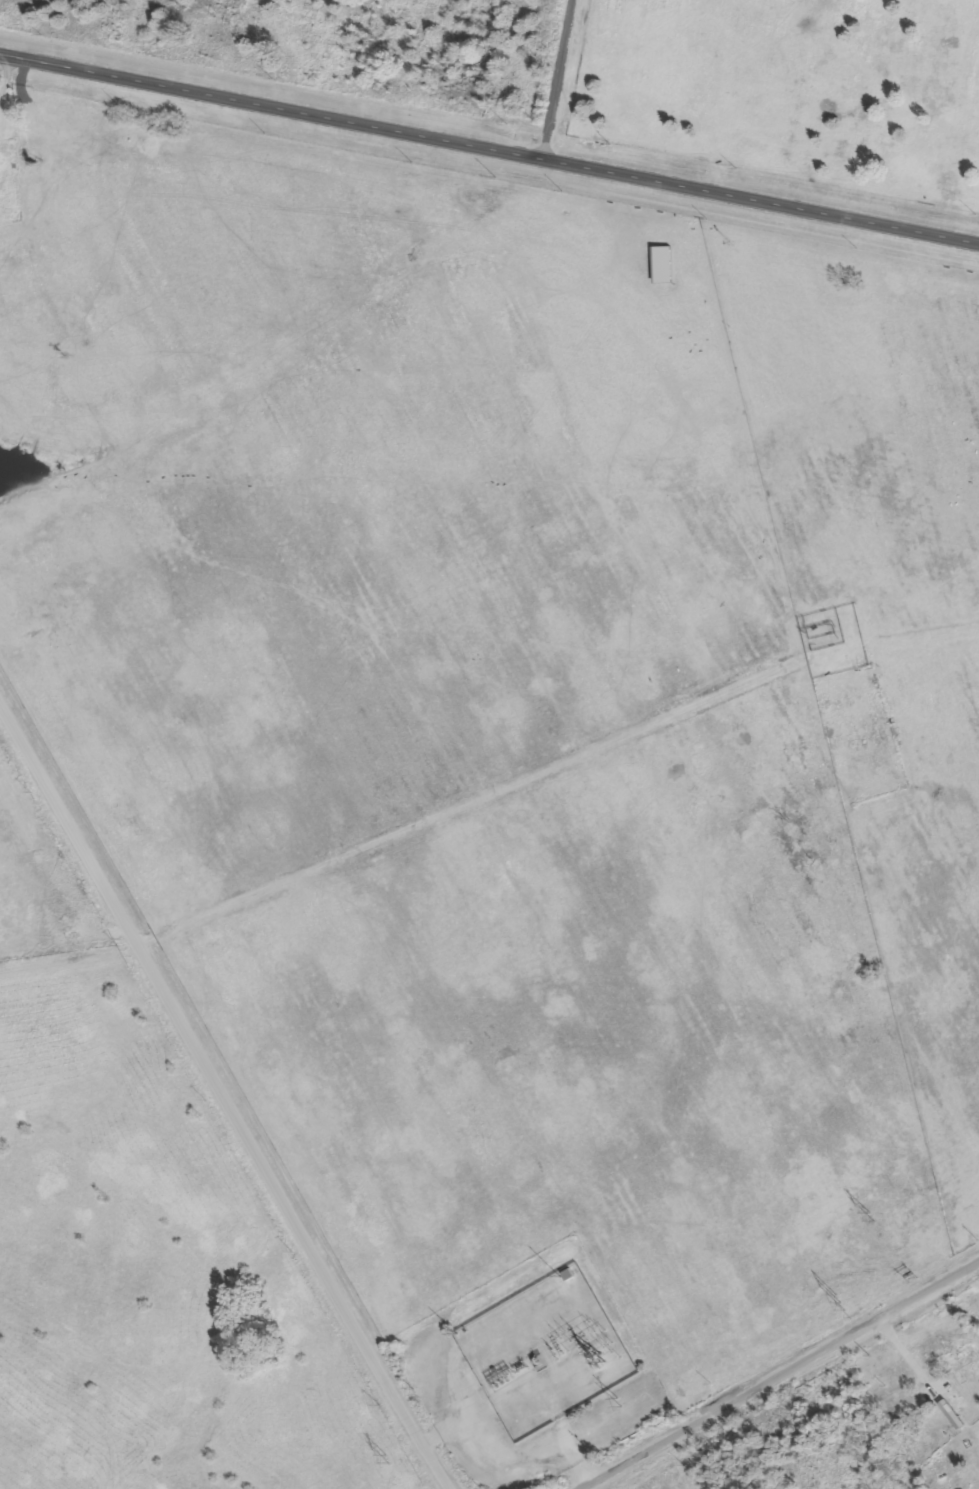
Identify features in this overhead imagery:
road: (560, 79)
road: (488, 141)
road: (227, 1094)
road: (780, 1375)

